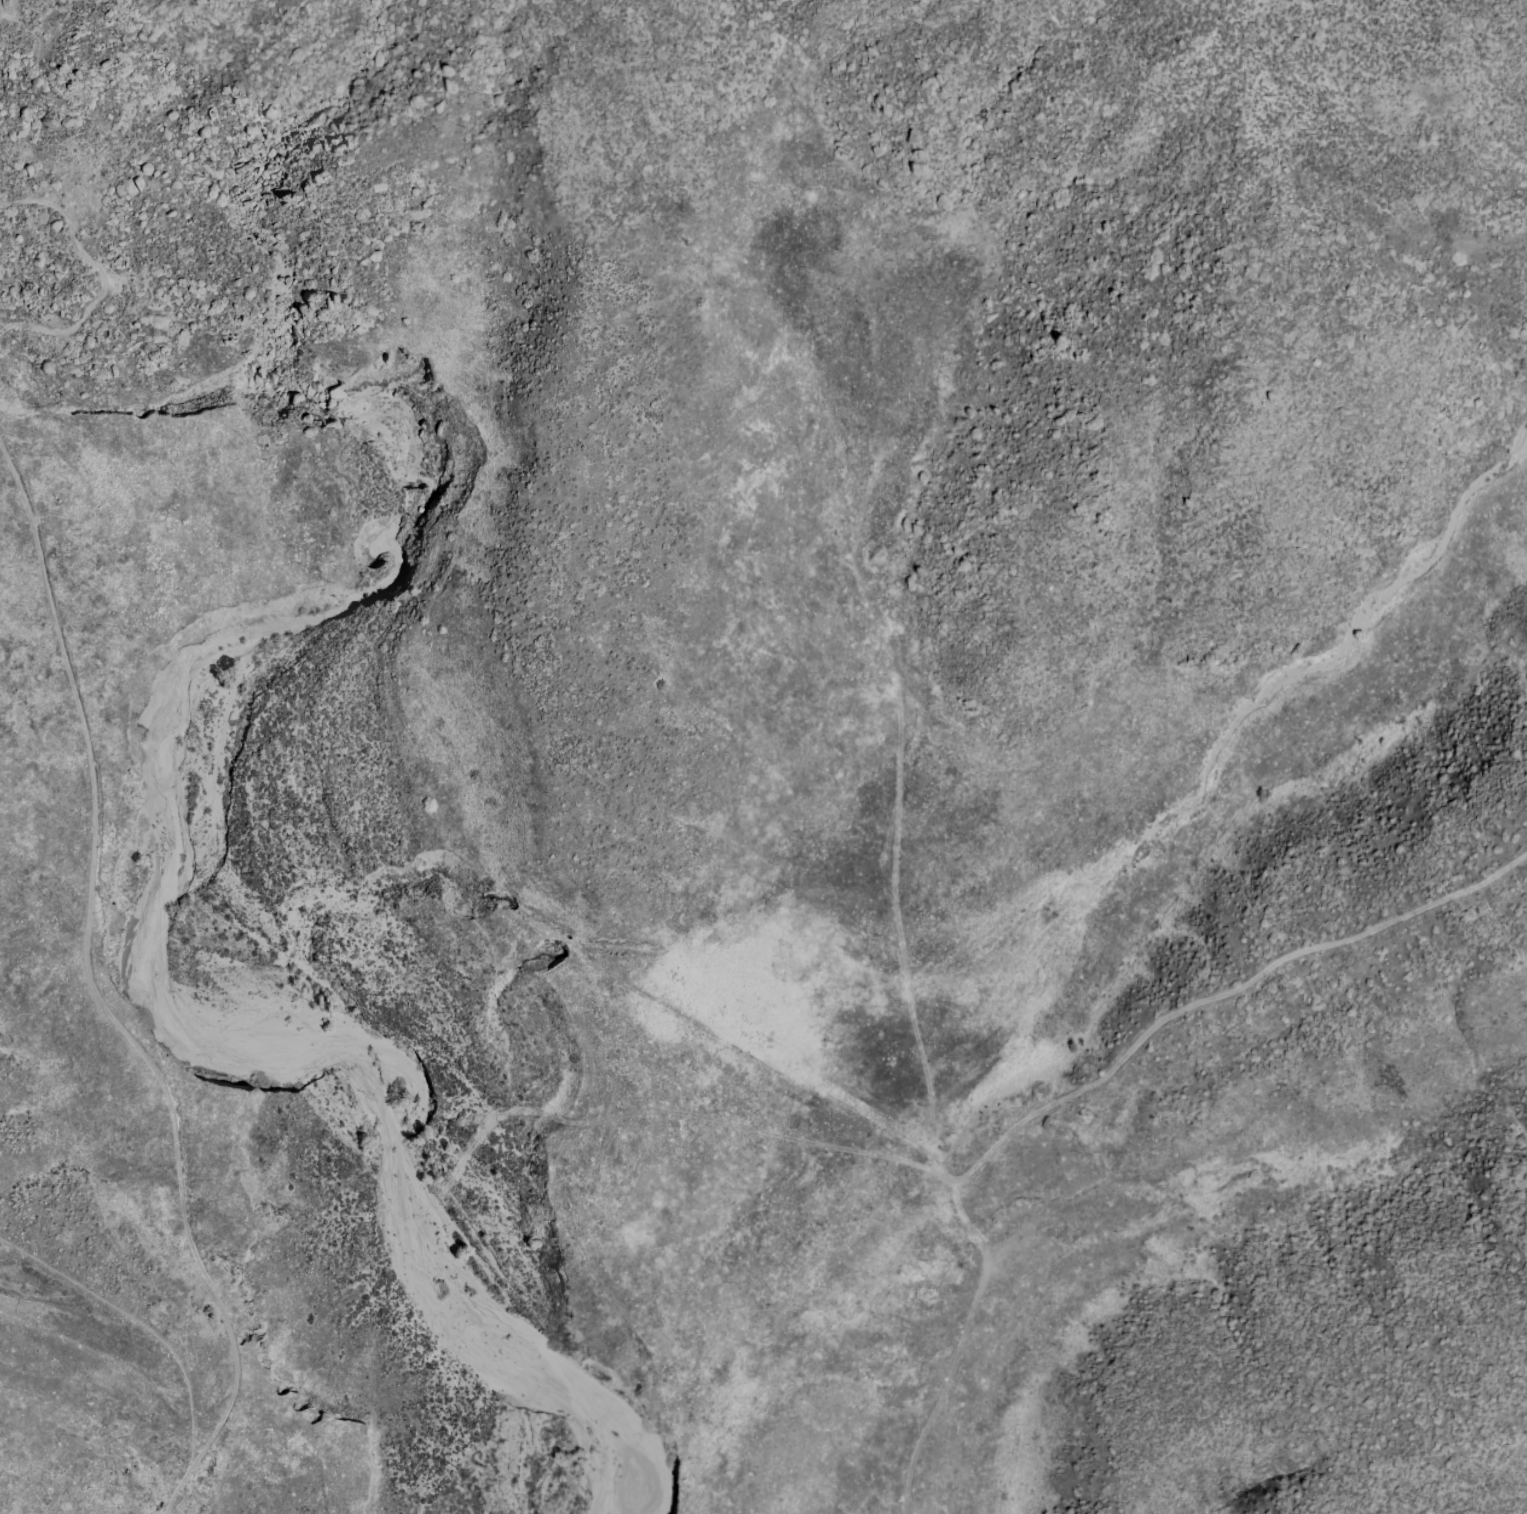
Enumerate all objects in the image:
road: (1273, 970)

